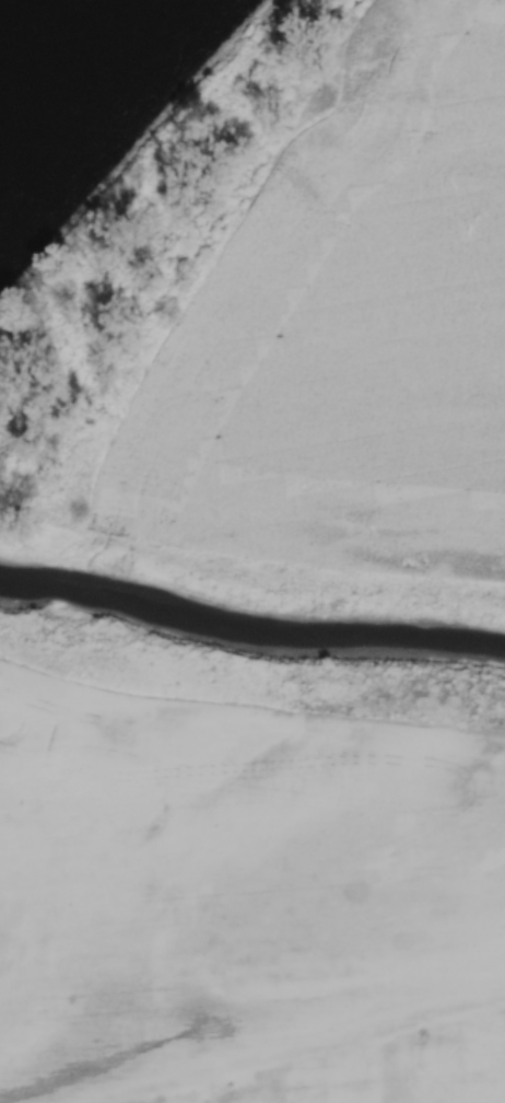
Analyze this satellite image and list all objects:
road: (434, 18)

